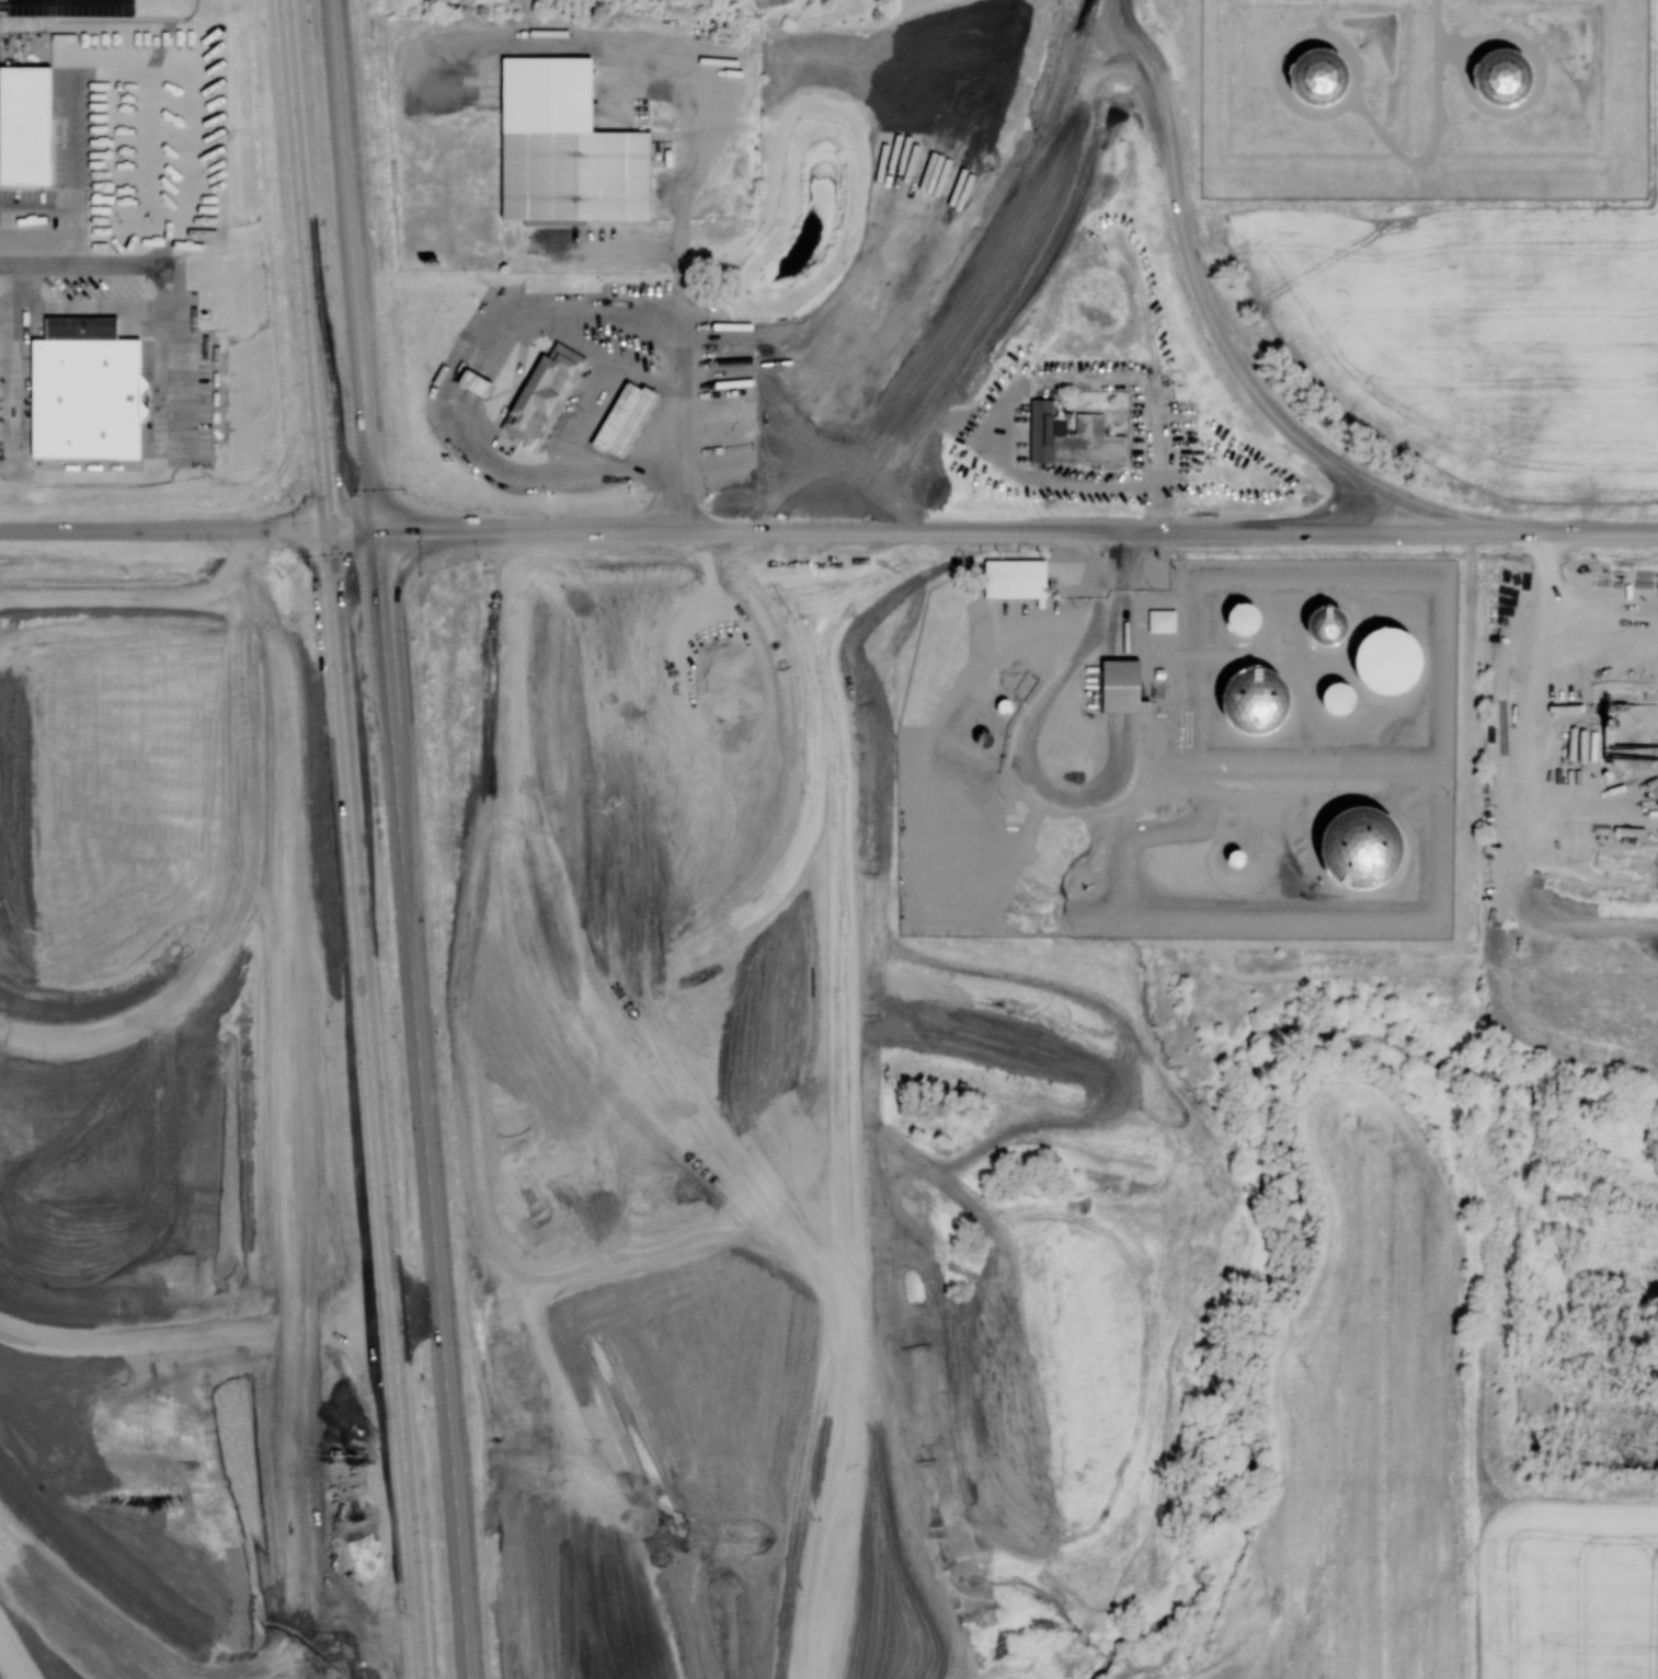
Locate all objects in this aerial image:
building: (769, 2)
road: (675, 56)
building: (1317, 76)
building: (1499, 76)
road: (339, 89)
building: (25, 124)
building: (564, 148)
road: (1050, 177)
road: (616, 246)
road: (316, 295)
road: (354, 301)
building: (474, 381)
gas station: (474, 381)
building: (98, 382)
building: (1179, 390)
building: (541, 391)
road: (899, 407)
road: (913, 414)
building: (624, 417)
gas station: (624, 417)
building: (1072, 437)
road: (773, 445)
road: (759, 453)
road: (367, 471)
road: (774, 471)
road: (522, 472)
road: (667, 509)
road: (1027, 516)
road: (581, 527)
road: (1411, 531)
road: (1030, 537)
road: (328, 539)
road: (585, 549)
road: (330, 550)
road: (127, 552)
road: (128, 563)
road: (333, 565)
building: (1014, 577)
road: (379, 578)
road: (129, 580)
building: (1162, 619)
building: (1386, 658)
building: (1122, 686)
building: (610, 705)
building: (526, 780)
road: (273, 815)
building: (1359, 844)
road: (838, 955)
road: (470, 967)
road: (664, 969)
building: (582, 1117)
building: (741, 1177)
building: (576, 1252)
building: (590, 1352)
road: (586, 1486)
road: (837, 1503)
building: (790, 1597)
road: (11, 1658)

